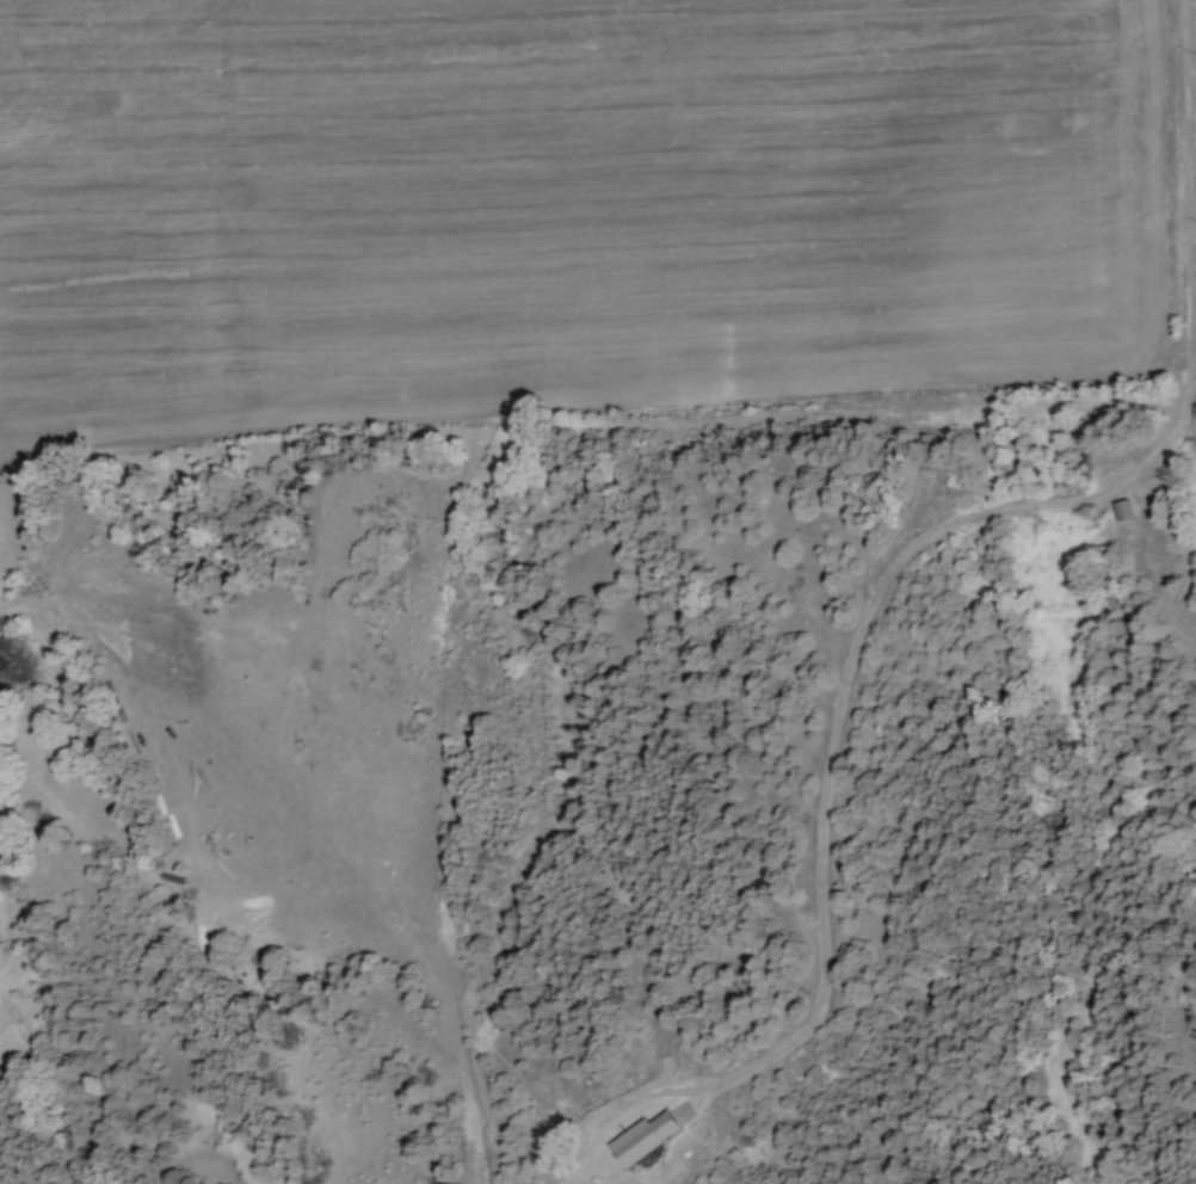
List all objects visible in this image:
building: (1120, 511)
road: (943, 526)
building: (640, 1137)

